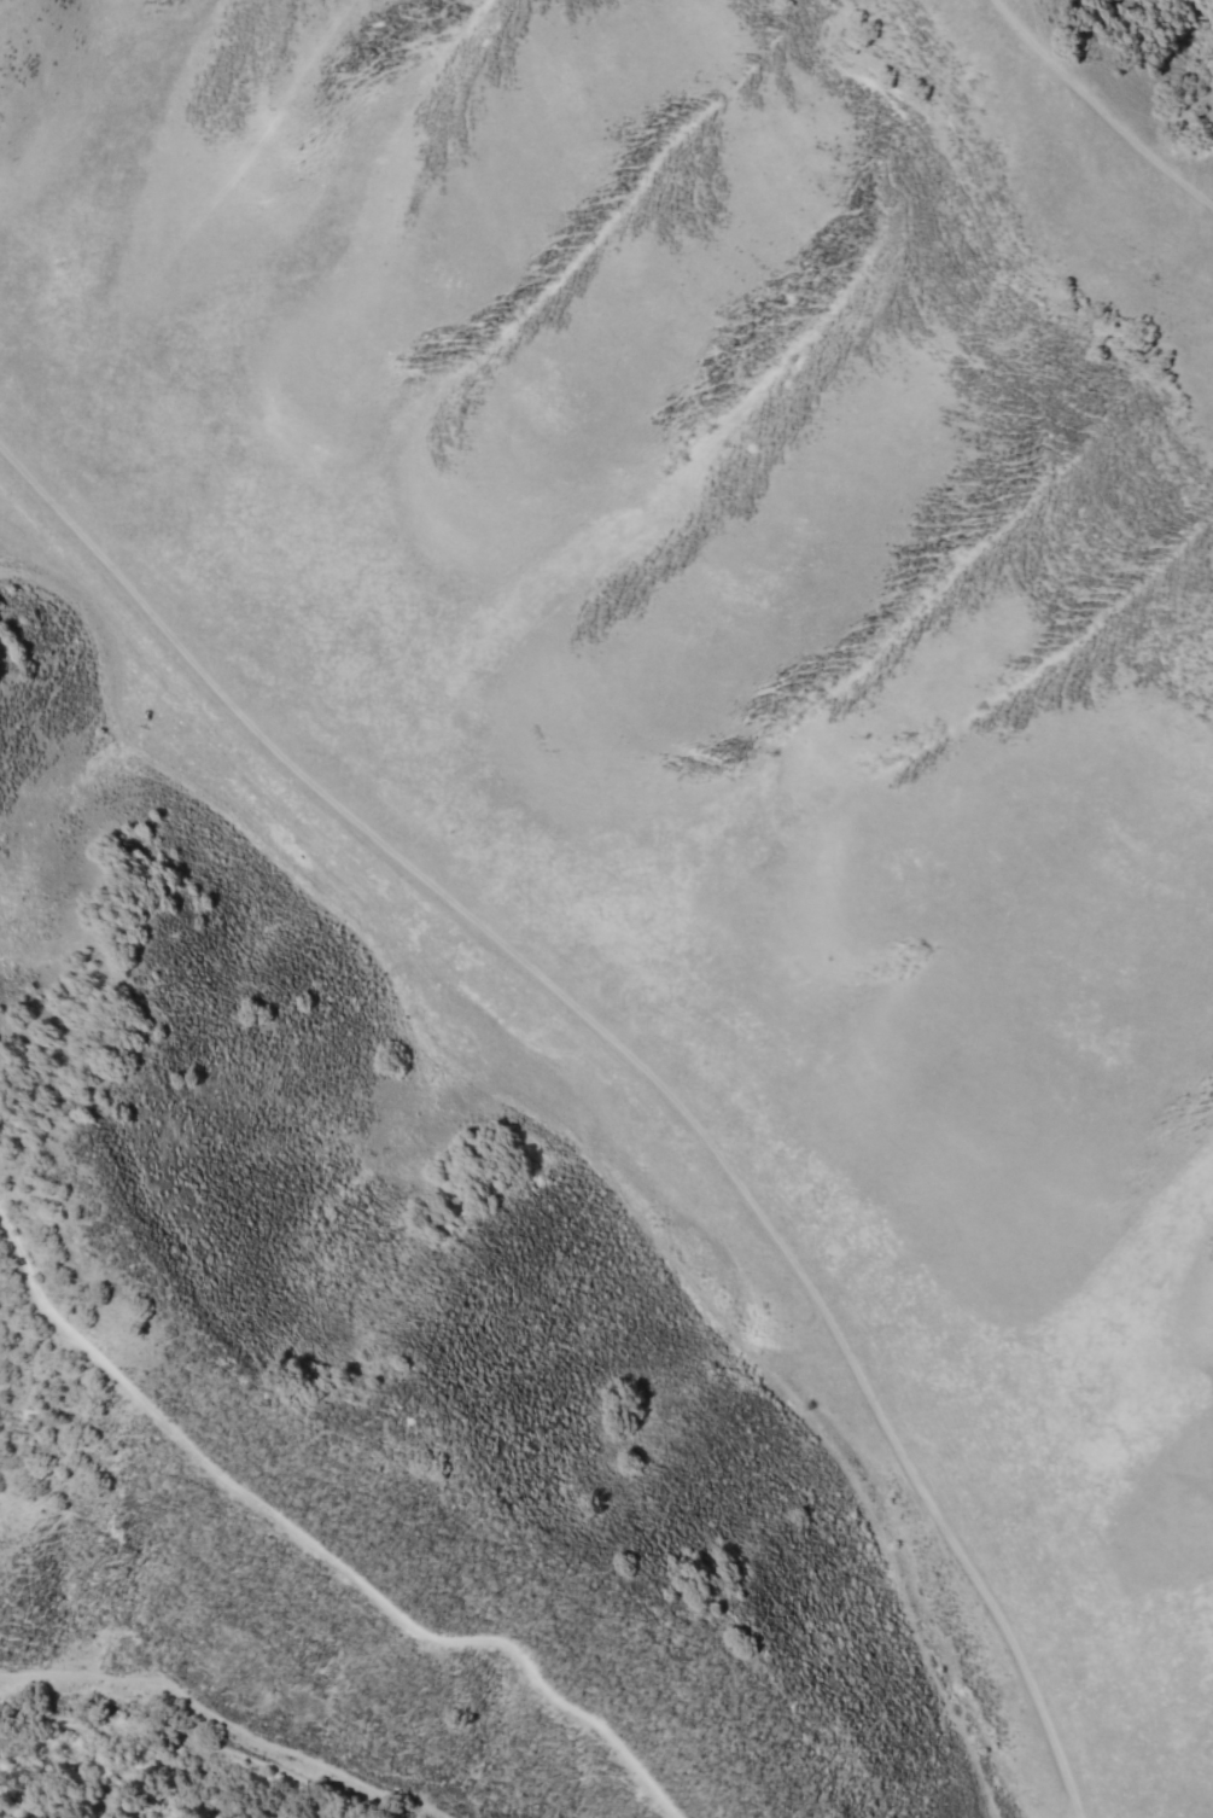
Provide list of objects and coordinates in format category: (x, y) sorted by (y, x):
road: (1102, 104)
road: (631, 1064)

